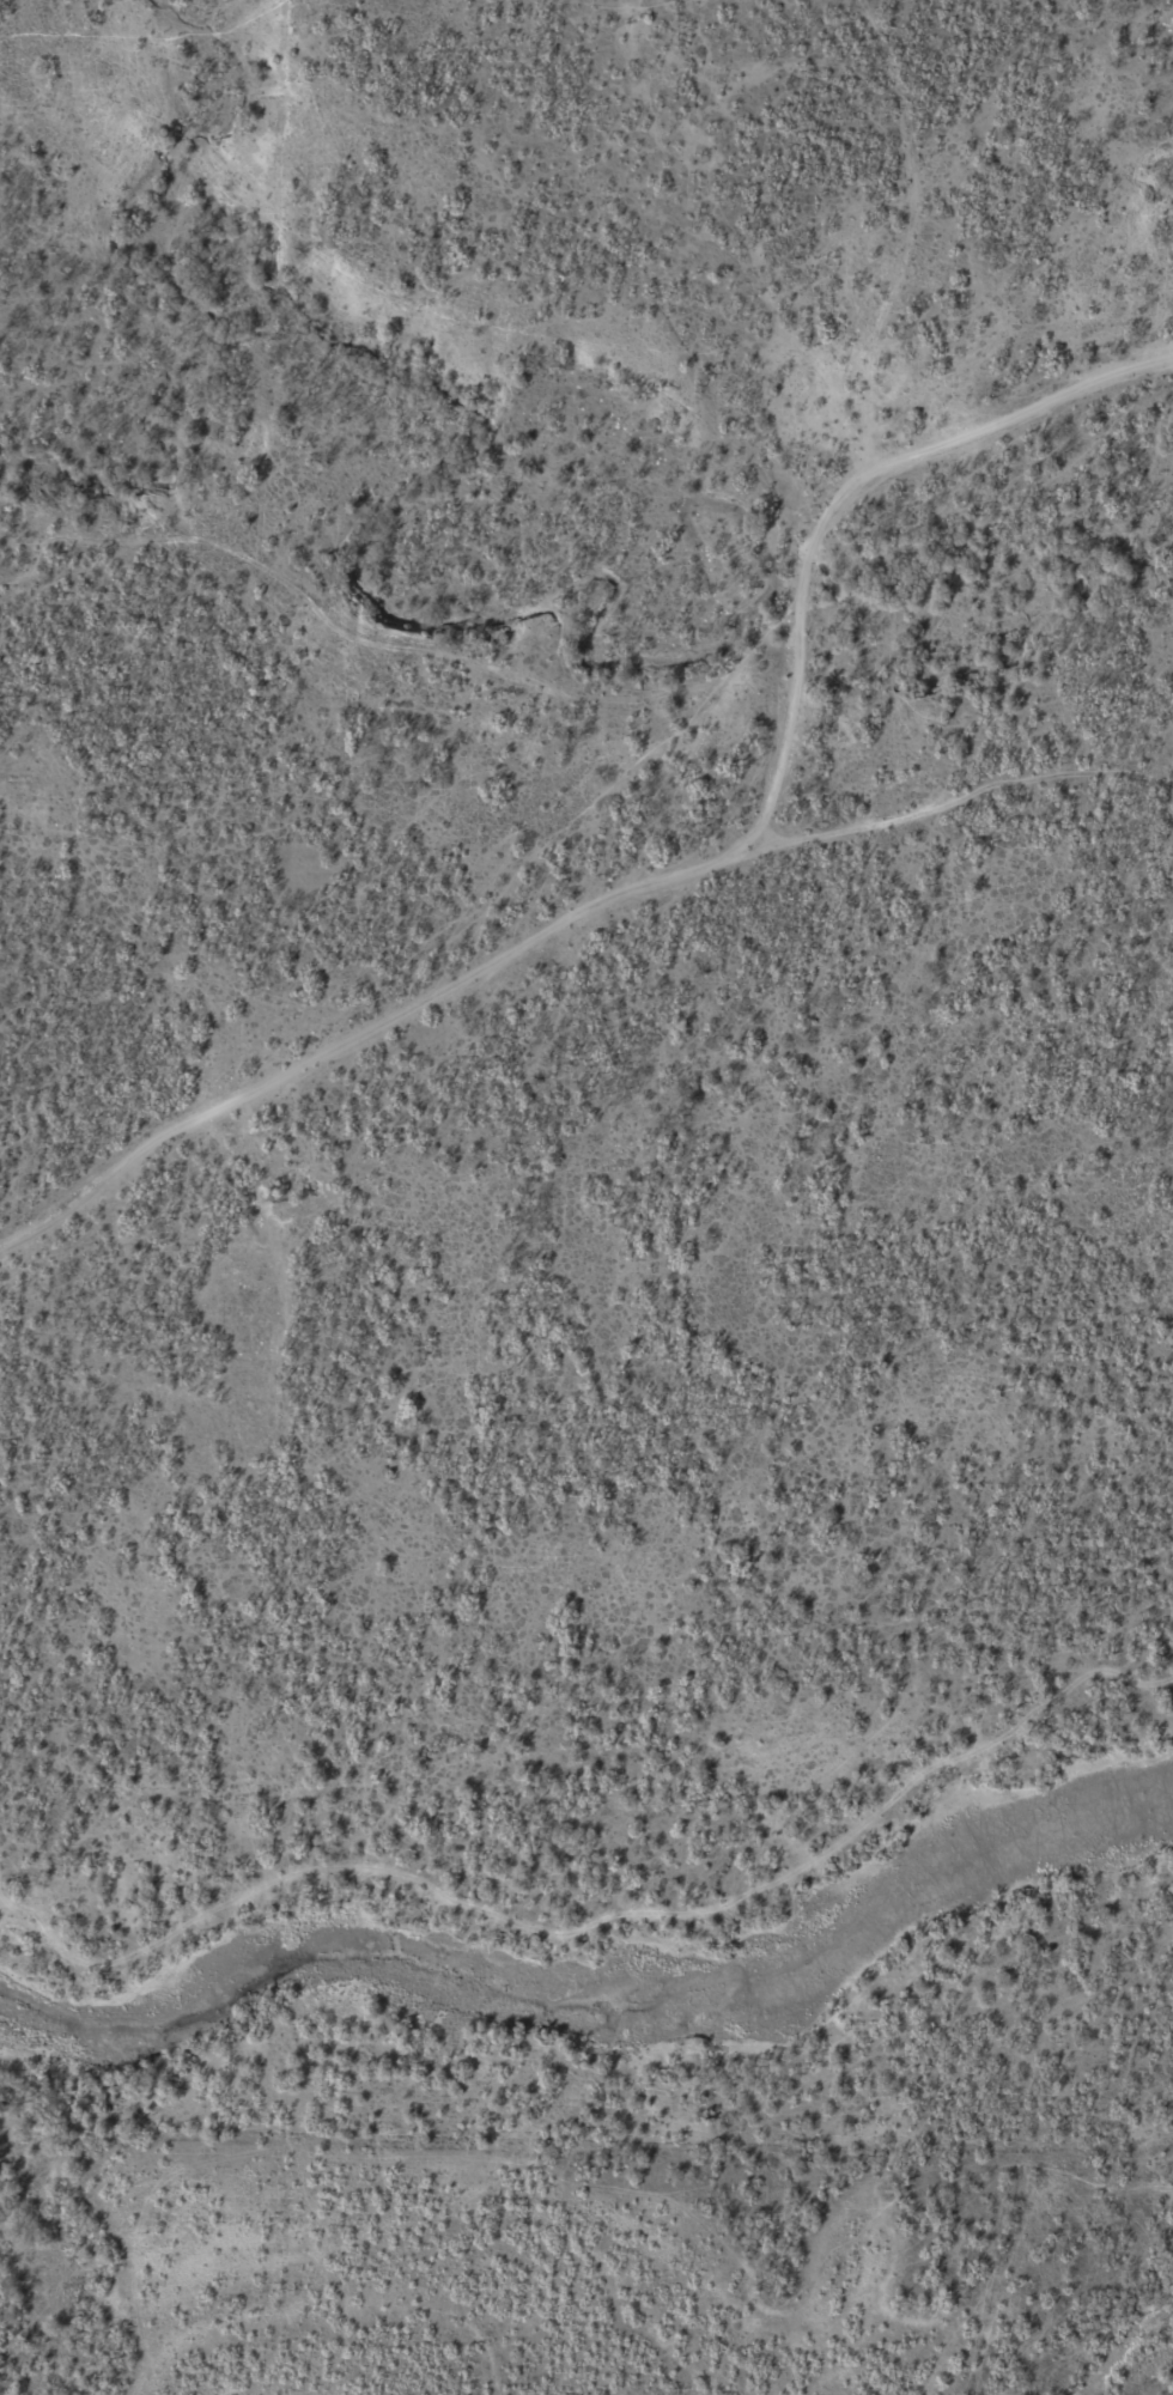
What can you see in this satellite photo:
road: (837, 506)
road: (953, 802)
road: (359, 1037)

